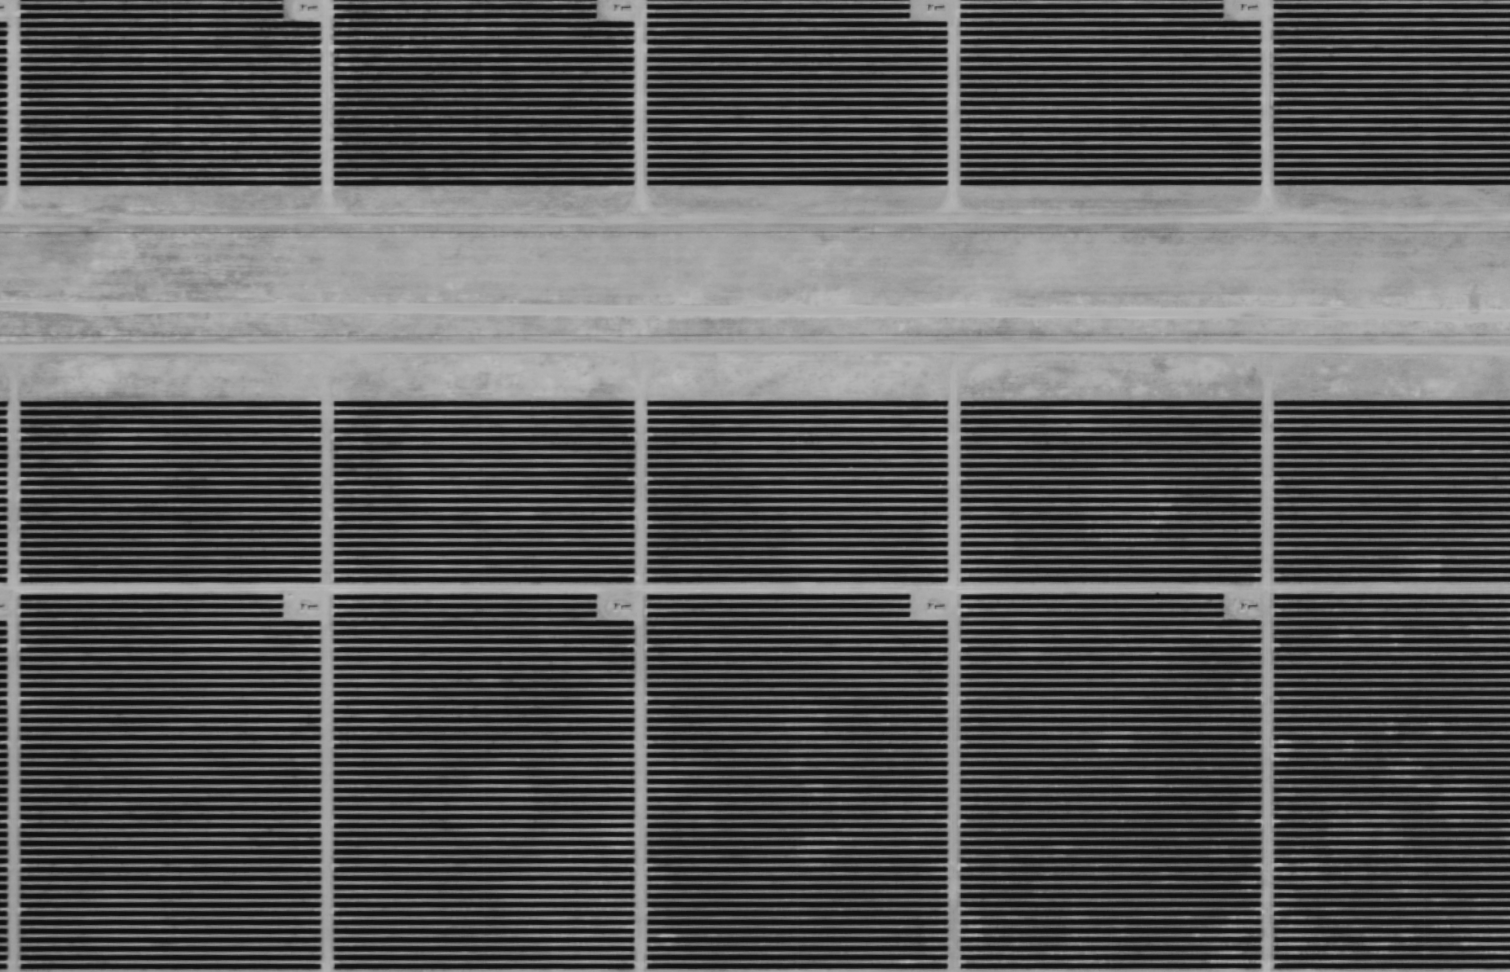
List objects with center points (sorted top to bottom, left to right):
road: (755, 311)
solar farm: (755, 486)

